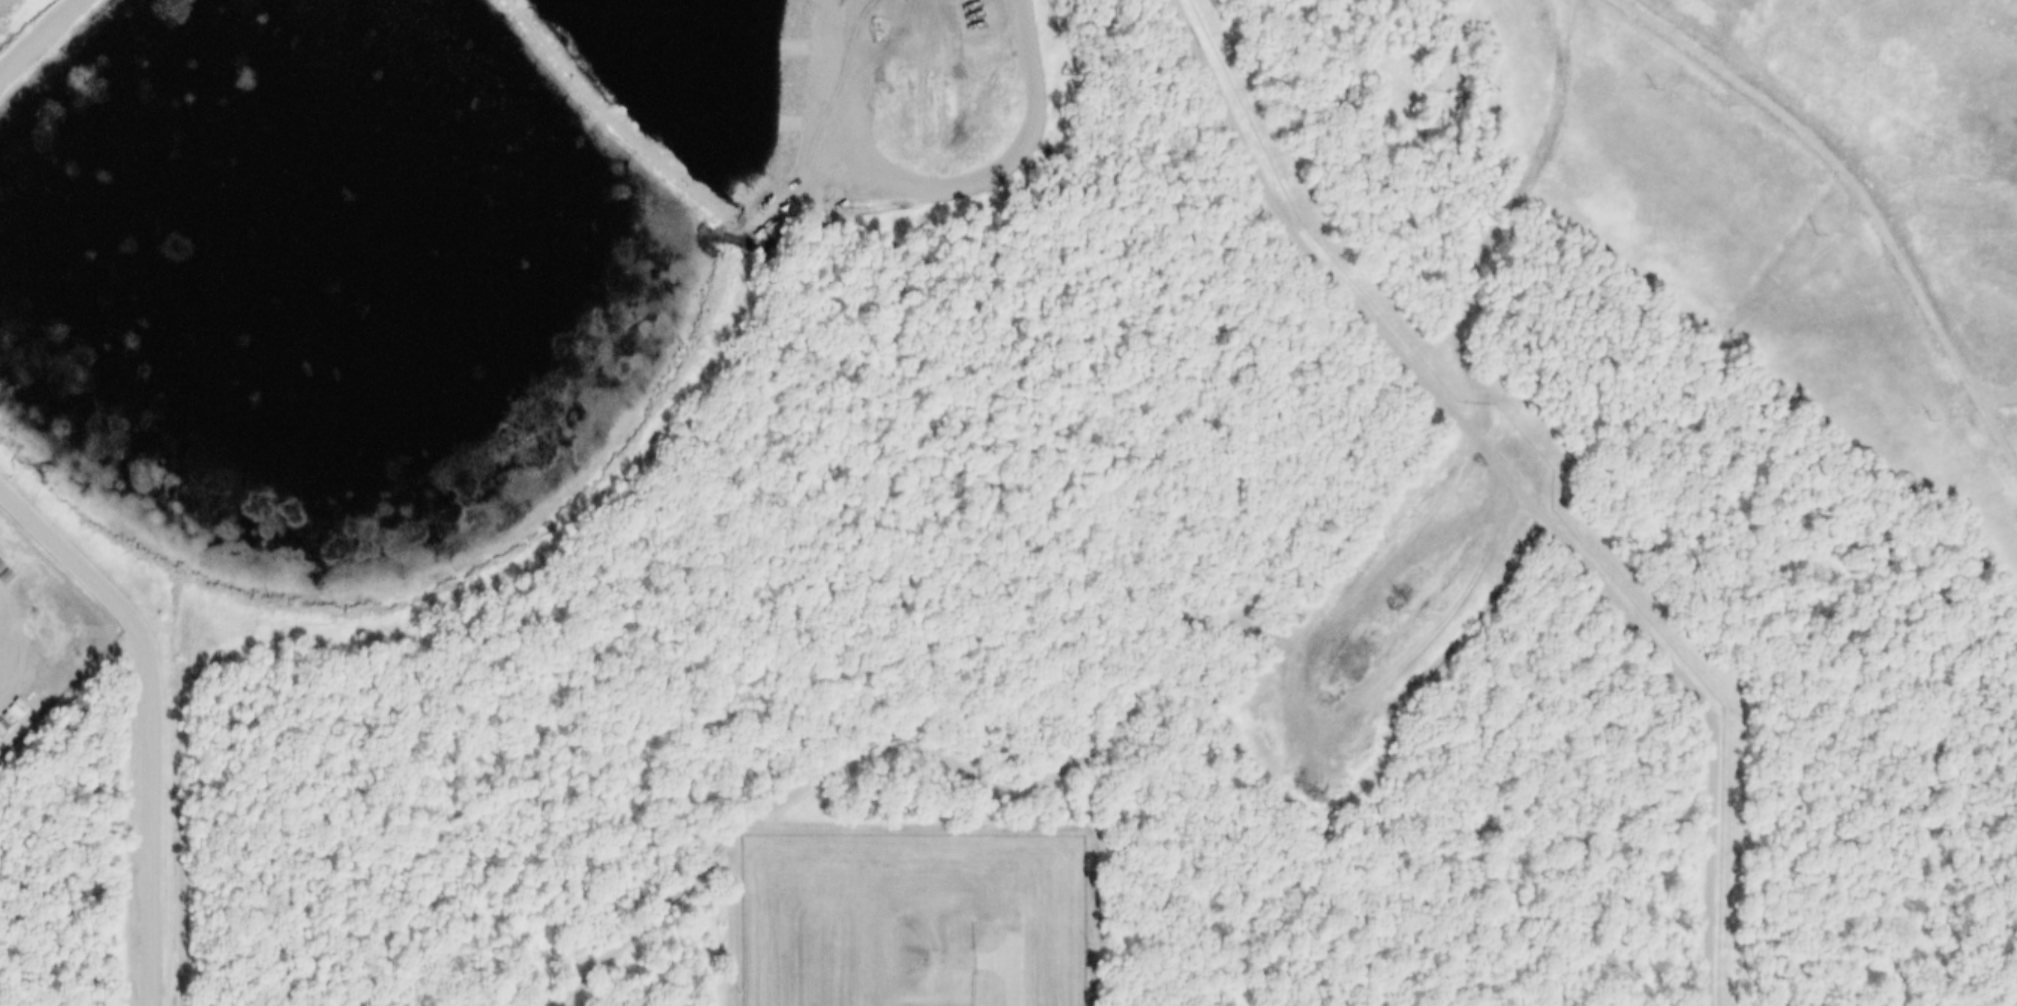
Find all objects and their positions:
road: (38, 37)
road: (1536, 167)
road: (1866, 188)
road: (2001, 393)
road: (155, 715)
road: (1047, 772)
building: (929, 960)
road: (1007, 970)
building: (927, 1003)

